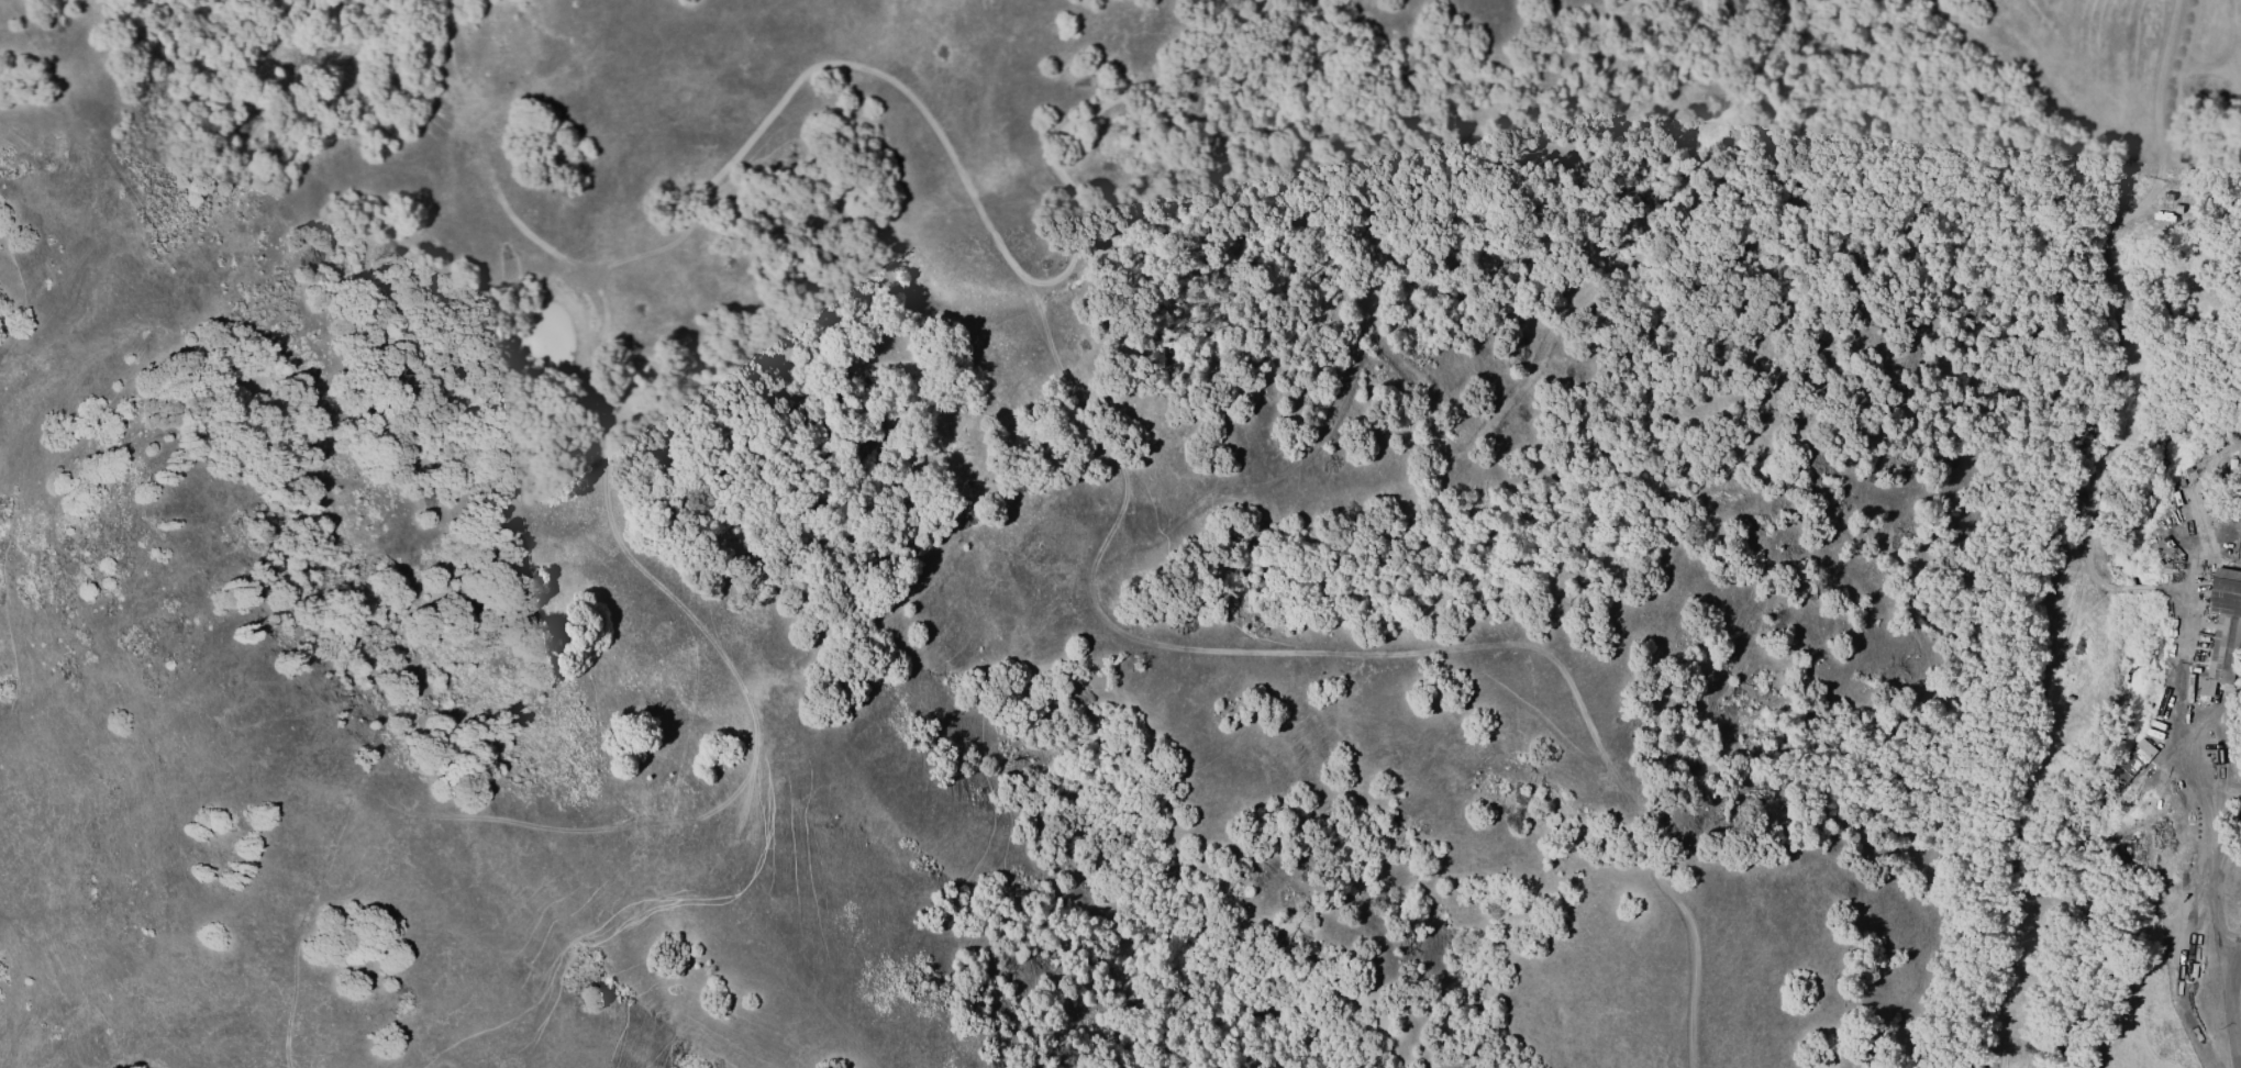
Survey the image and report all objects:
building: (2175, 498)
crop: (2124, 608)
building: (2222, 628)
road: (2181, 660)
road: (2220, 747)
building: (2133, 759)
road: (2211, 897)
road: (2231, 1010)

